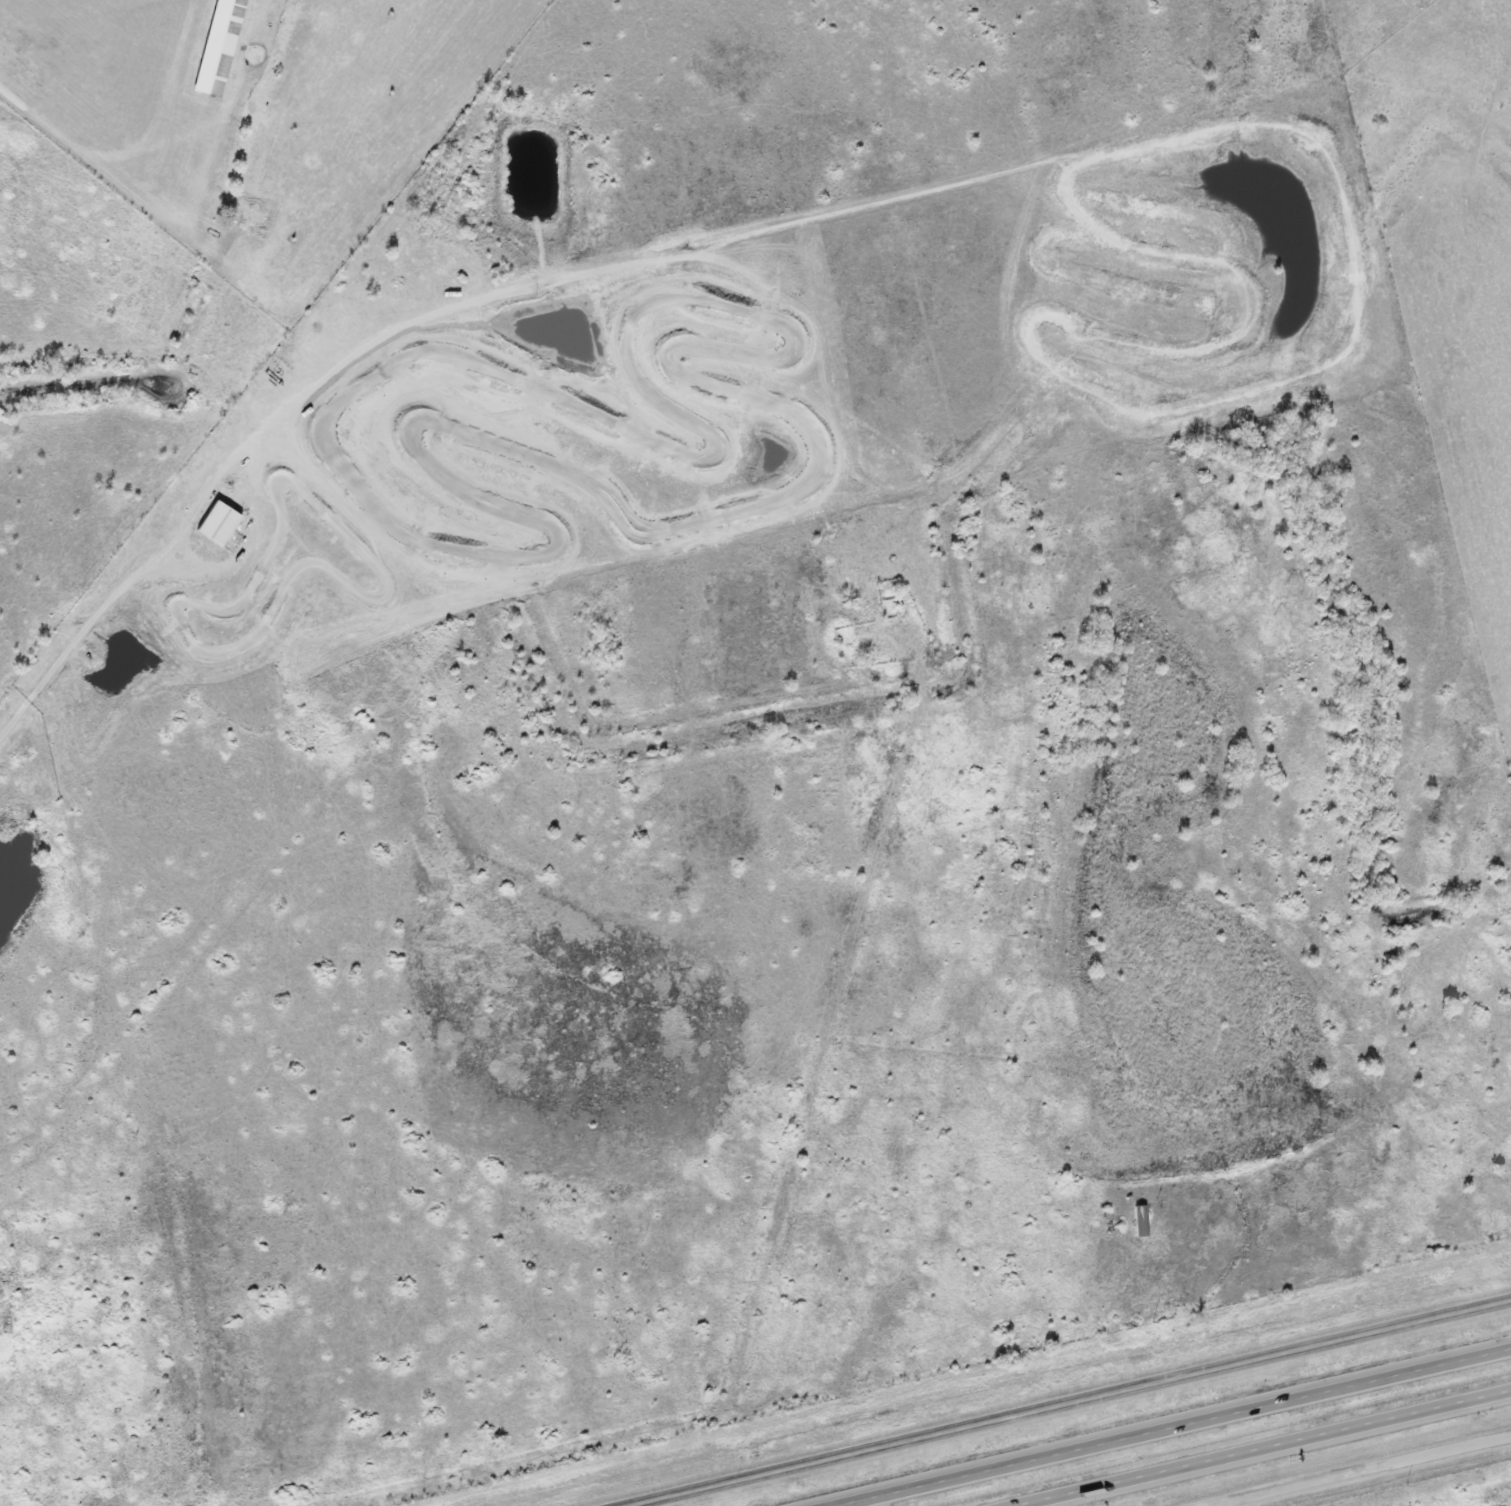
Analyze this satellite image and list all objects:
building: (217, 50)
building: (218, 524)
road: (1069, 1403)
road: (1173, 1427)
road: (1266, 1448)
road: (1360, 1471)

